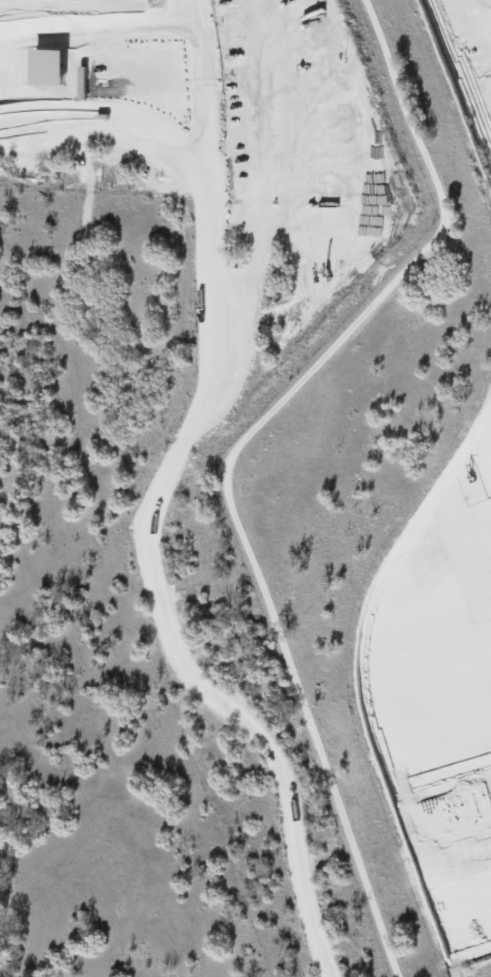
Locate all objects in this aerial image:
quarry: (468, 64)
building: (49, 68)
quarry: (180, 88)
road: (230, 456)
quarry: (474, 467)
road: (160, 601)

